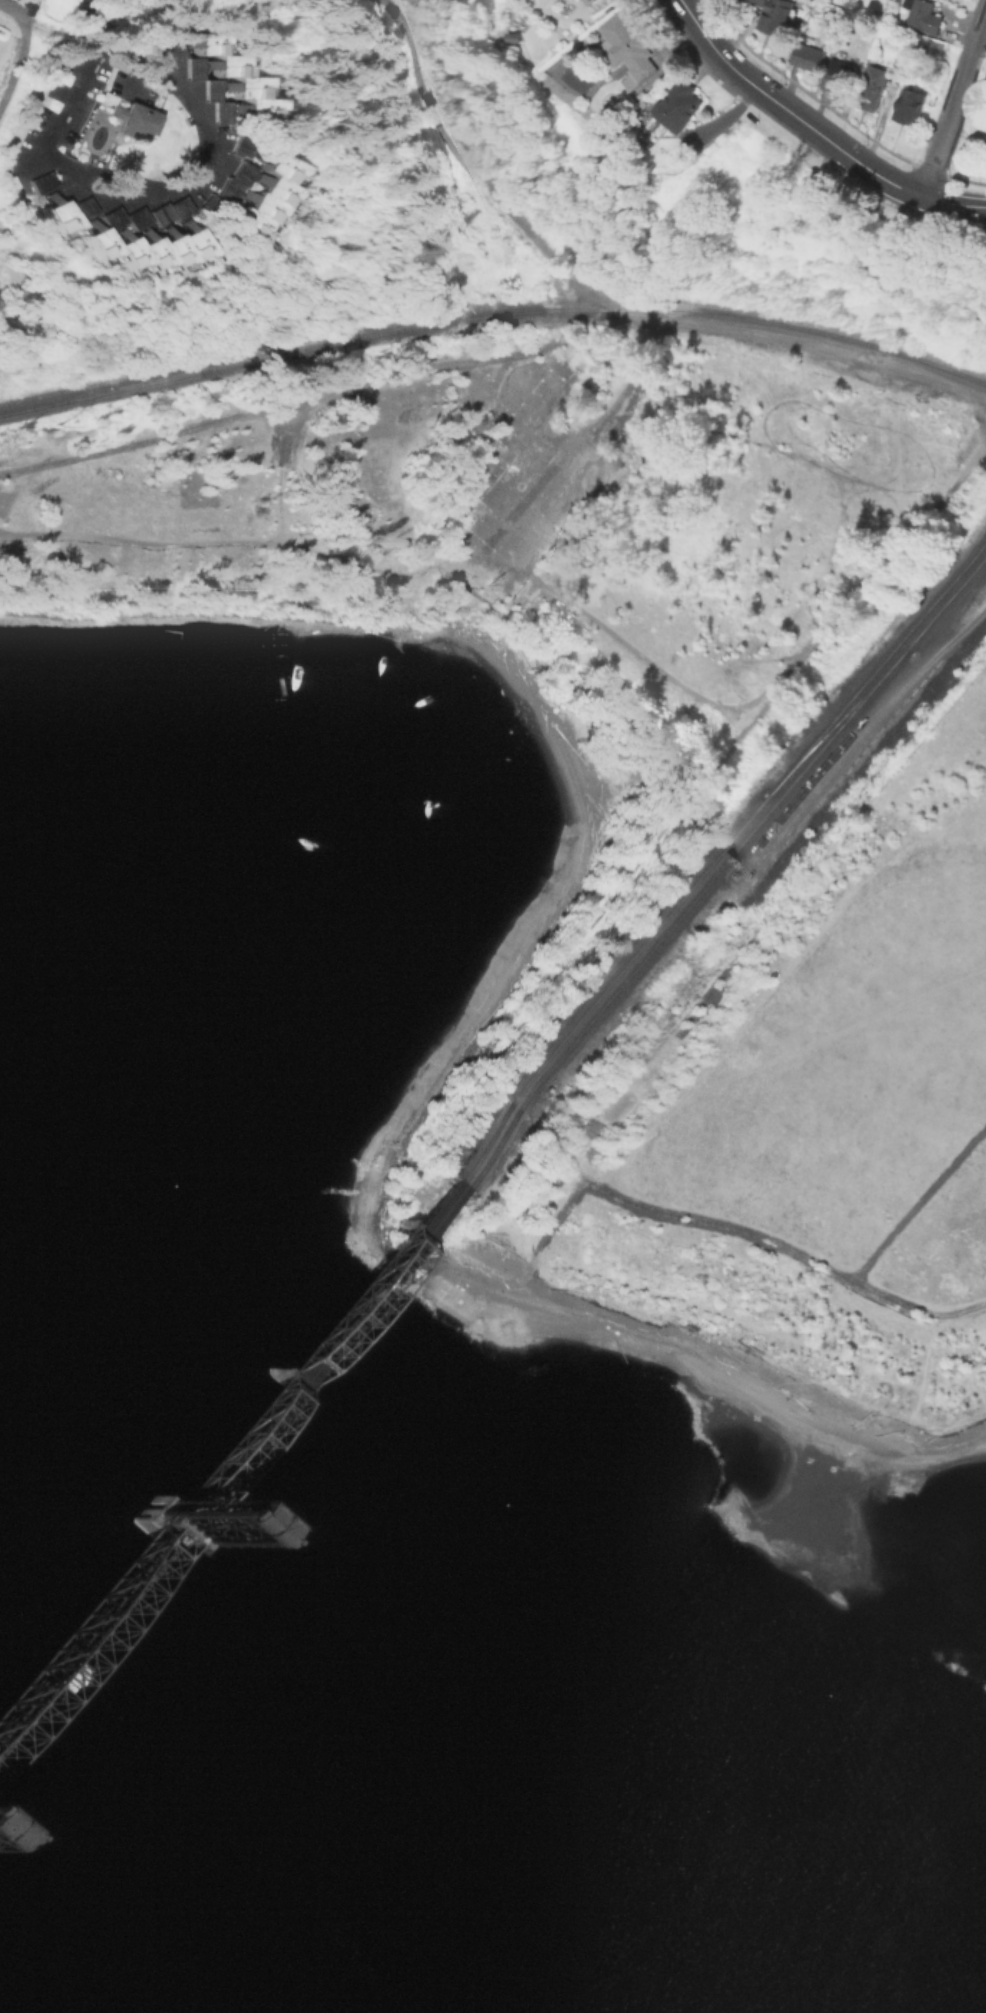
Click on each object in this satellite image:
building: (759, 2)
building: (591, 3)
road: (13, 9)
building: (924, 15)
building: (780, 16)
road: (100, 17)
road: (38, 25)
road: (979, 26)
road: (111, 35)
road: (81, 37)
building: (173, 46)
building: (934, 48)
building: (628, 51)
building: (812, 57)
road: (16, 64)
building: (195, 66)
building: (237, 74)
building: (841, 76)
road: (136, 77)
road: (751, 83)
parking lot: (133, 87)
building: (871, 87)
building: (643, 95)
building: (218, 98)
road: (139, 101)
parking lot: (65, 102)
building: (985, 102)
building: (912, 105)
building: (681, 107)
building: (984, 111)
building: (133, 117)
road: (947, 121)
building: (243, 145)
road: (460, 146)
road: (107, 158)
road: (29, 159)
road: (4, 165)
road: (878, 176)
building: (234, 180)
building: (39, 182)
building: (261, 196)
building: (206, 204)
road: (953, 205)
building: (76, 206)
building: (163, 209)
building: (54, 214)
building: (115, 216)
building: (138, 245)
road: (604, 300)
railway: (492, 313)
road: (644, 347)
road: (821, 349)
railway: (194, 361)
road: (540, 398)
road: (275, 404)
road: (627, 419)
road: (896, 455)
road: (937, 497)
road: (361, 562)
railway: (945, 602)
road: (819, 627)
railway: (879, 665)
railway: (838, 721)
road: (868, 727)
railway: (677, 917)
railway: (607, 984)
road: (775, 1238)
road: (917, 1304)
railway: (298, 1349)
railway: (306, 1356)
building: (159, 1522)
railway: (76, 1608)
railway: (80, 1622)
river: (307, 1736)

